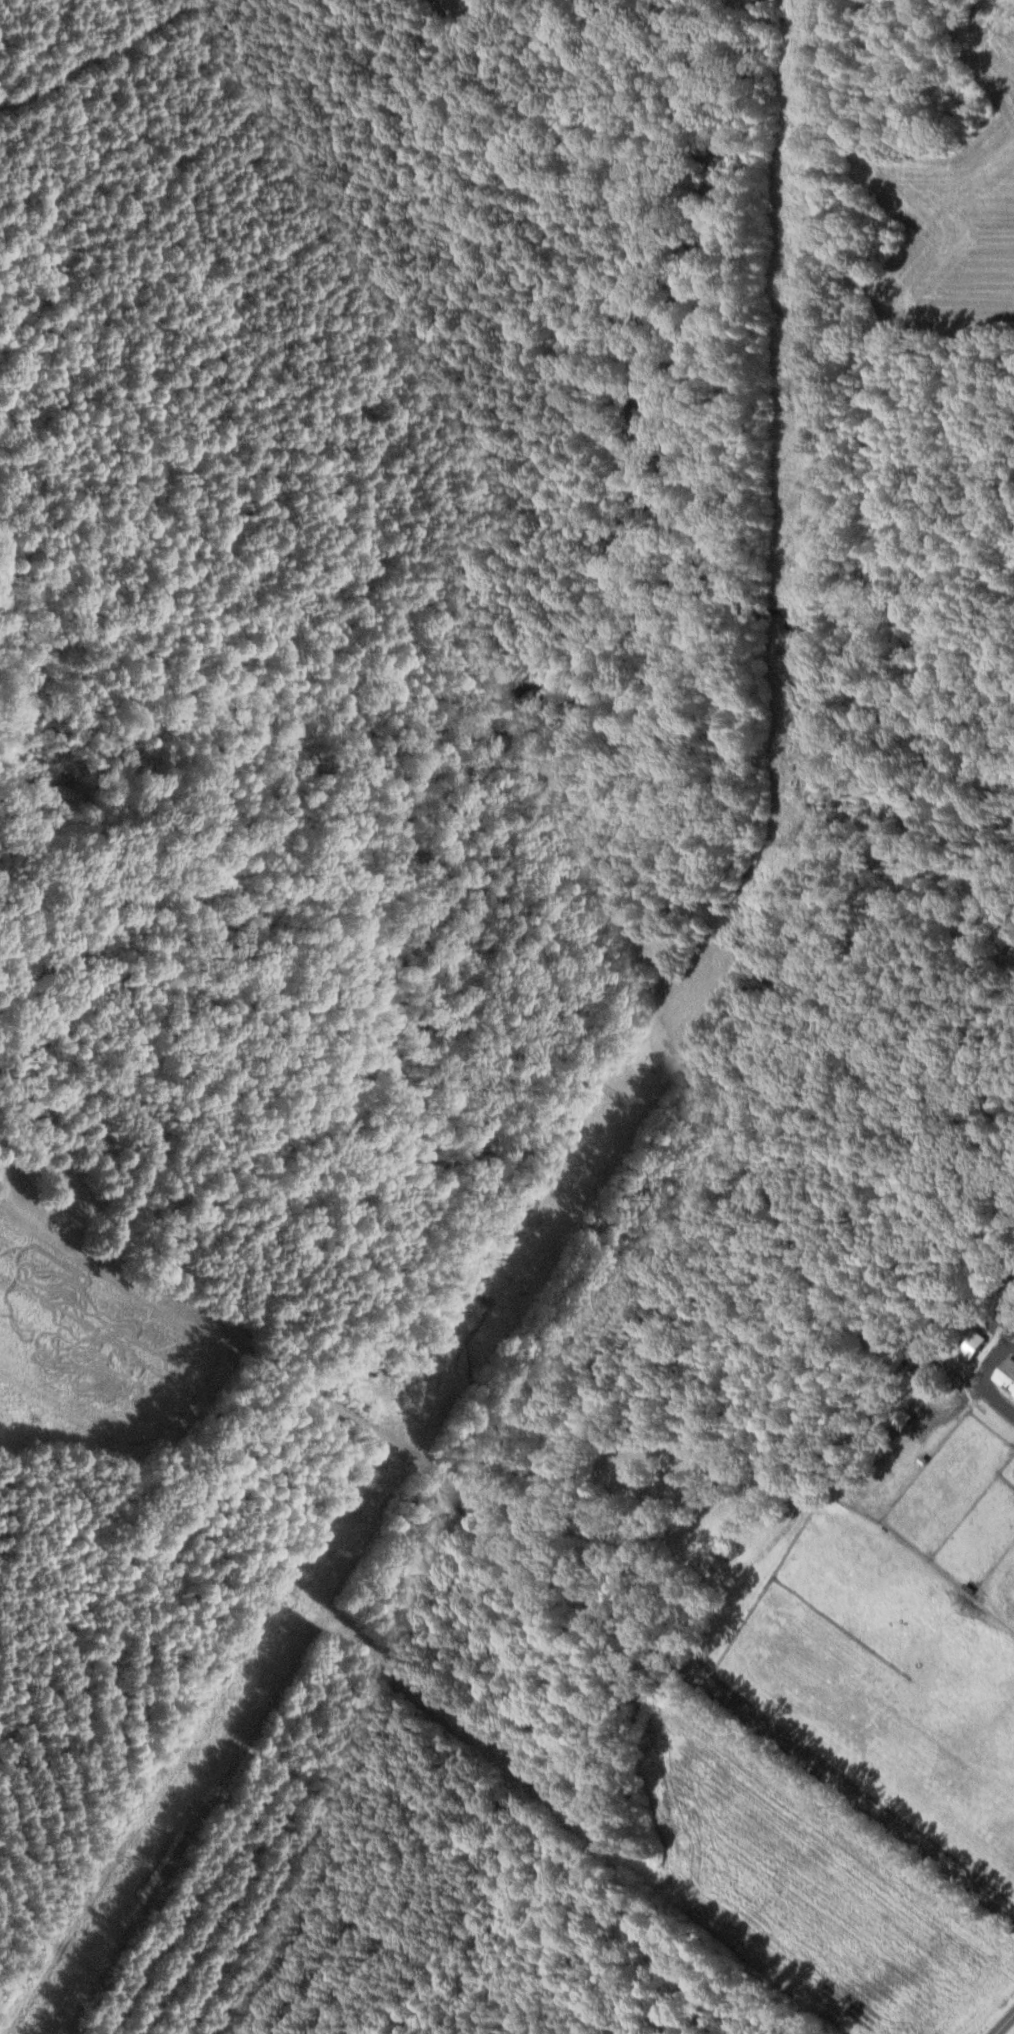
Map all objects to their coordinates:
power tower: (793, 382)
power tower: (786, 846)
power tower: (625, 1099)
building: (1007, 1374)
road: (983, 1377)
building: (905, 1418)
power tower: (328, 1550)
power tower: (131, 1863)
road: (1005, 2024)

